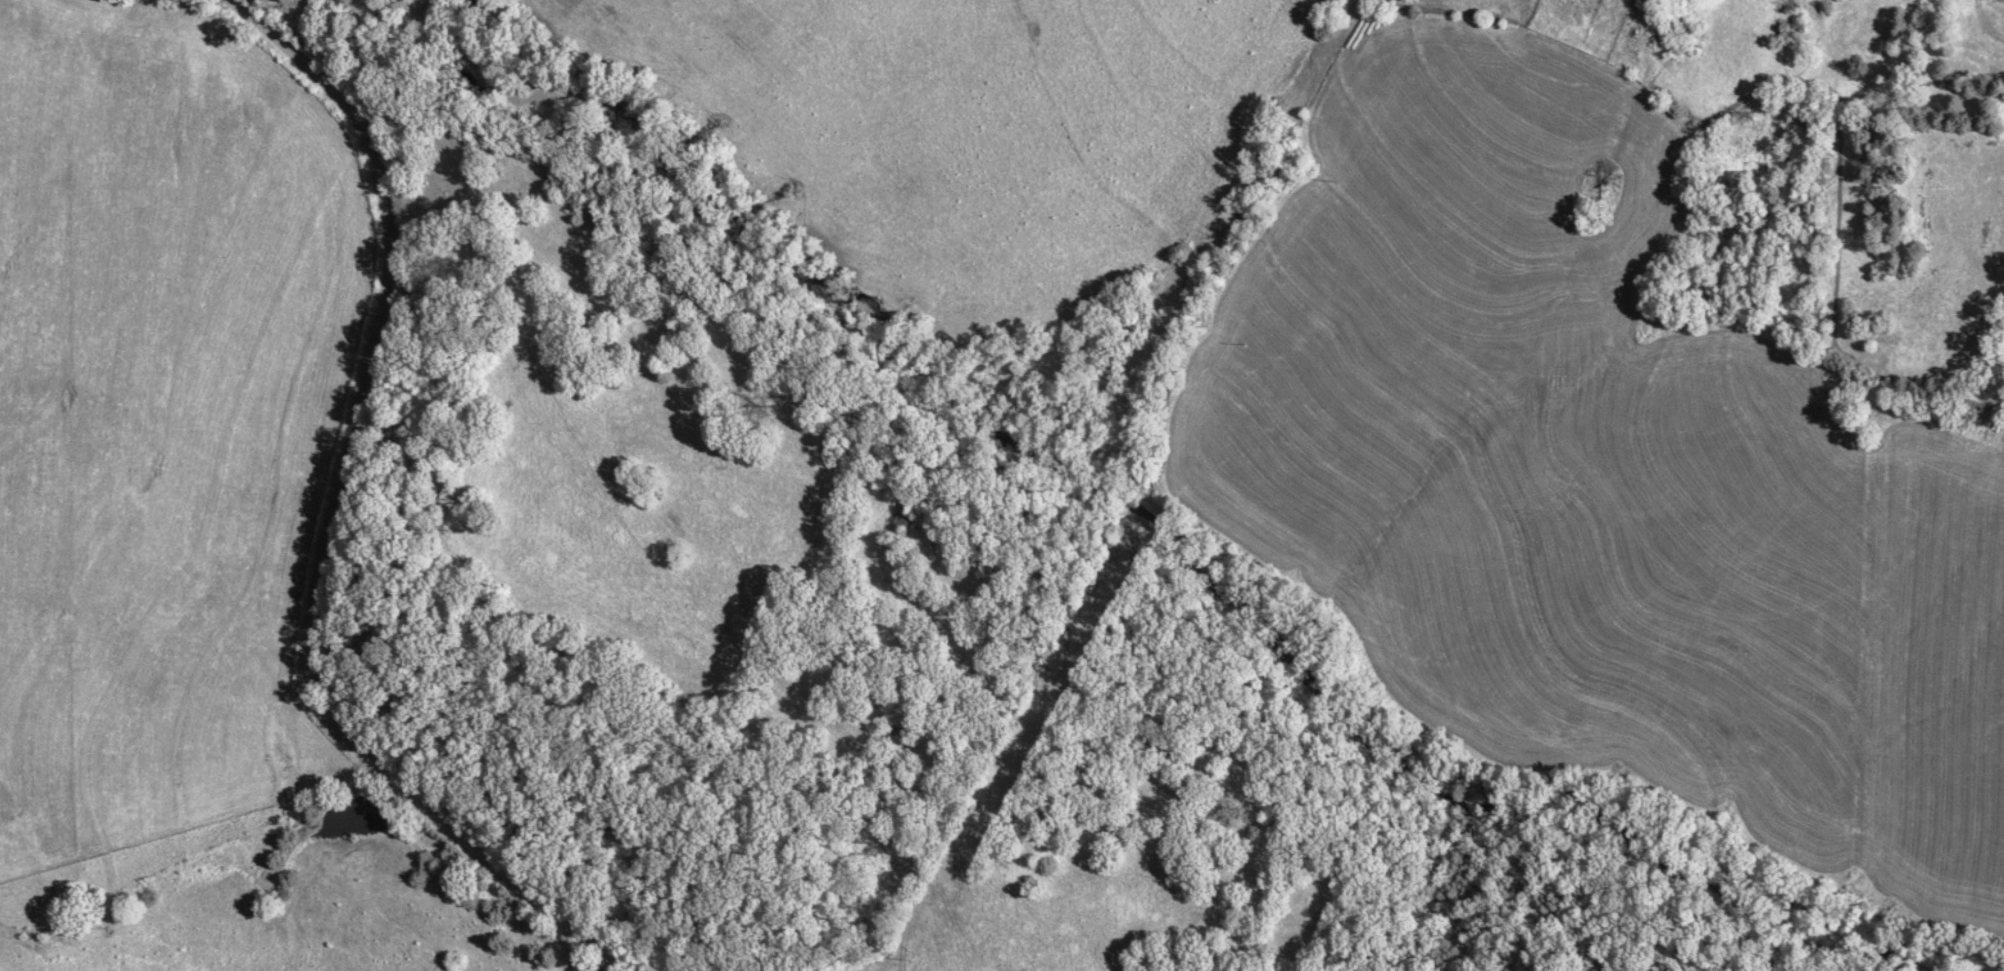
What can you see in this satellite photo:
road: (349, 511)

